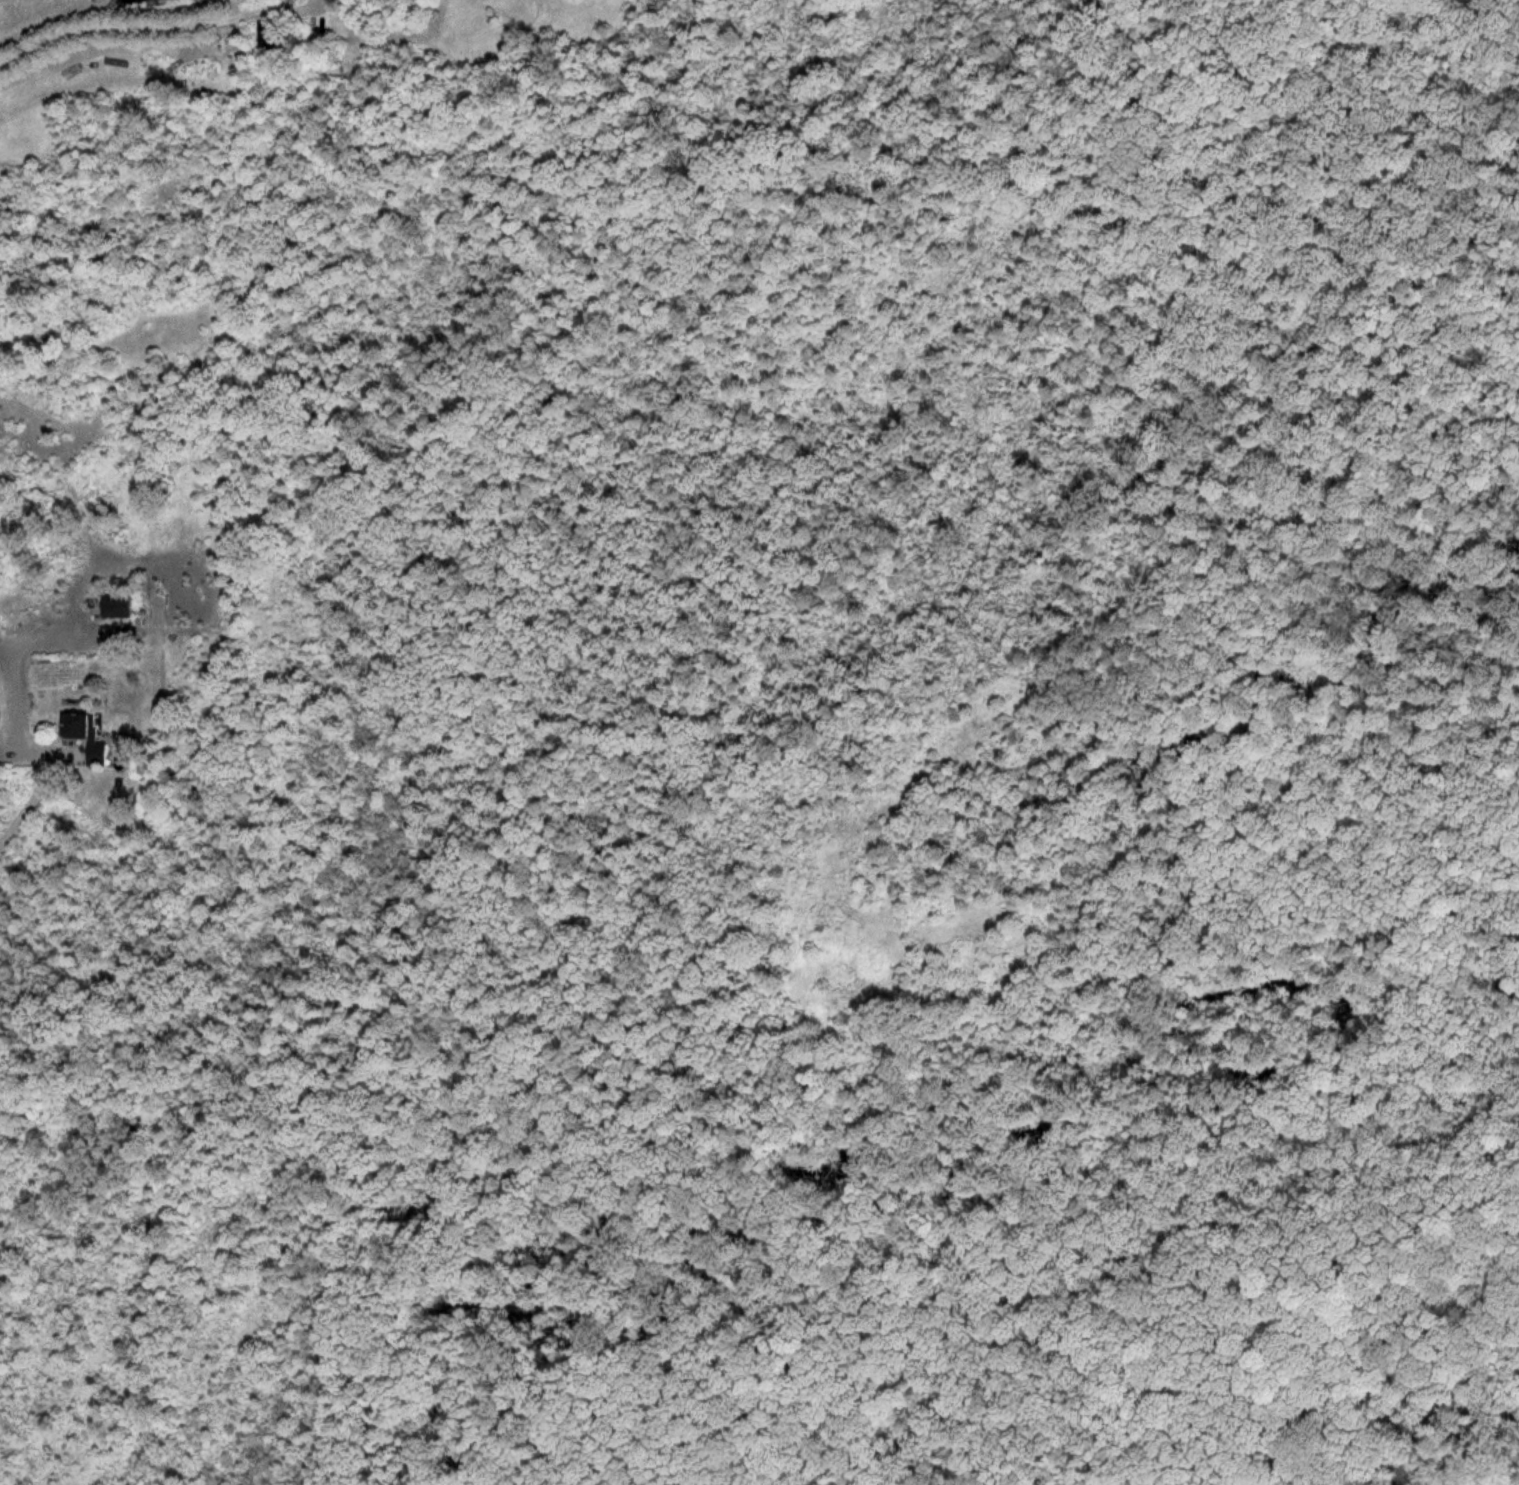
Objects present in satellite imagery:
road: (157, 28)
building: (122, 605)
road: (5, 727)
building: (89, 736)

